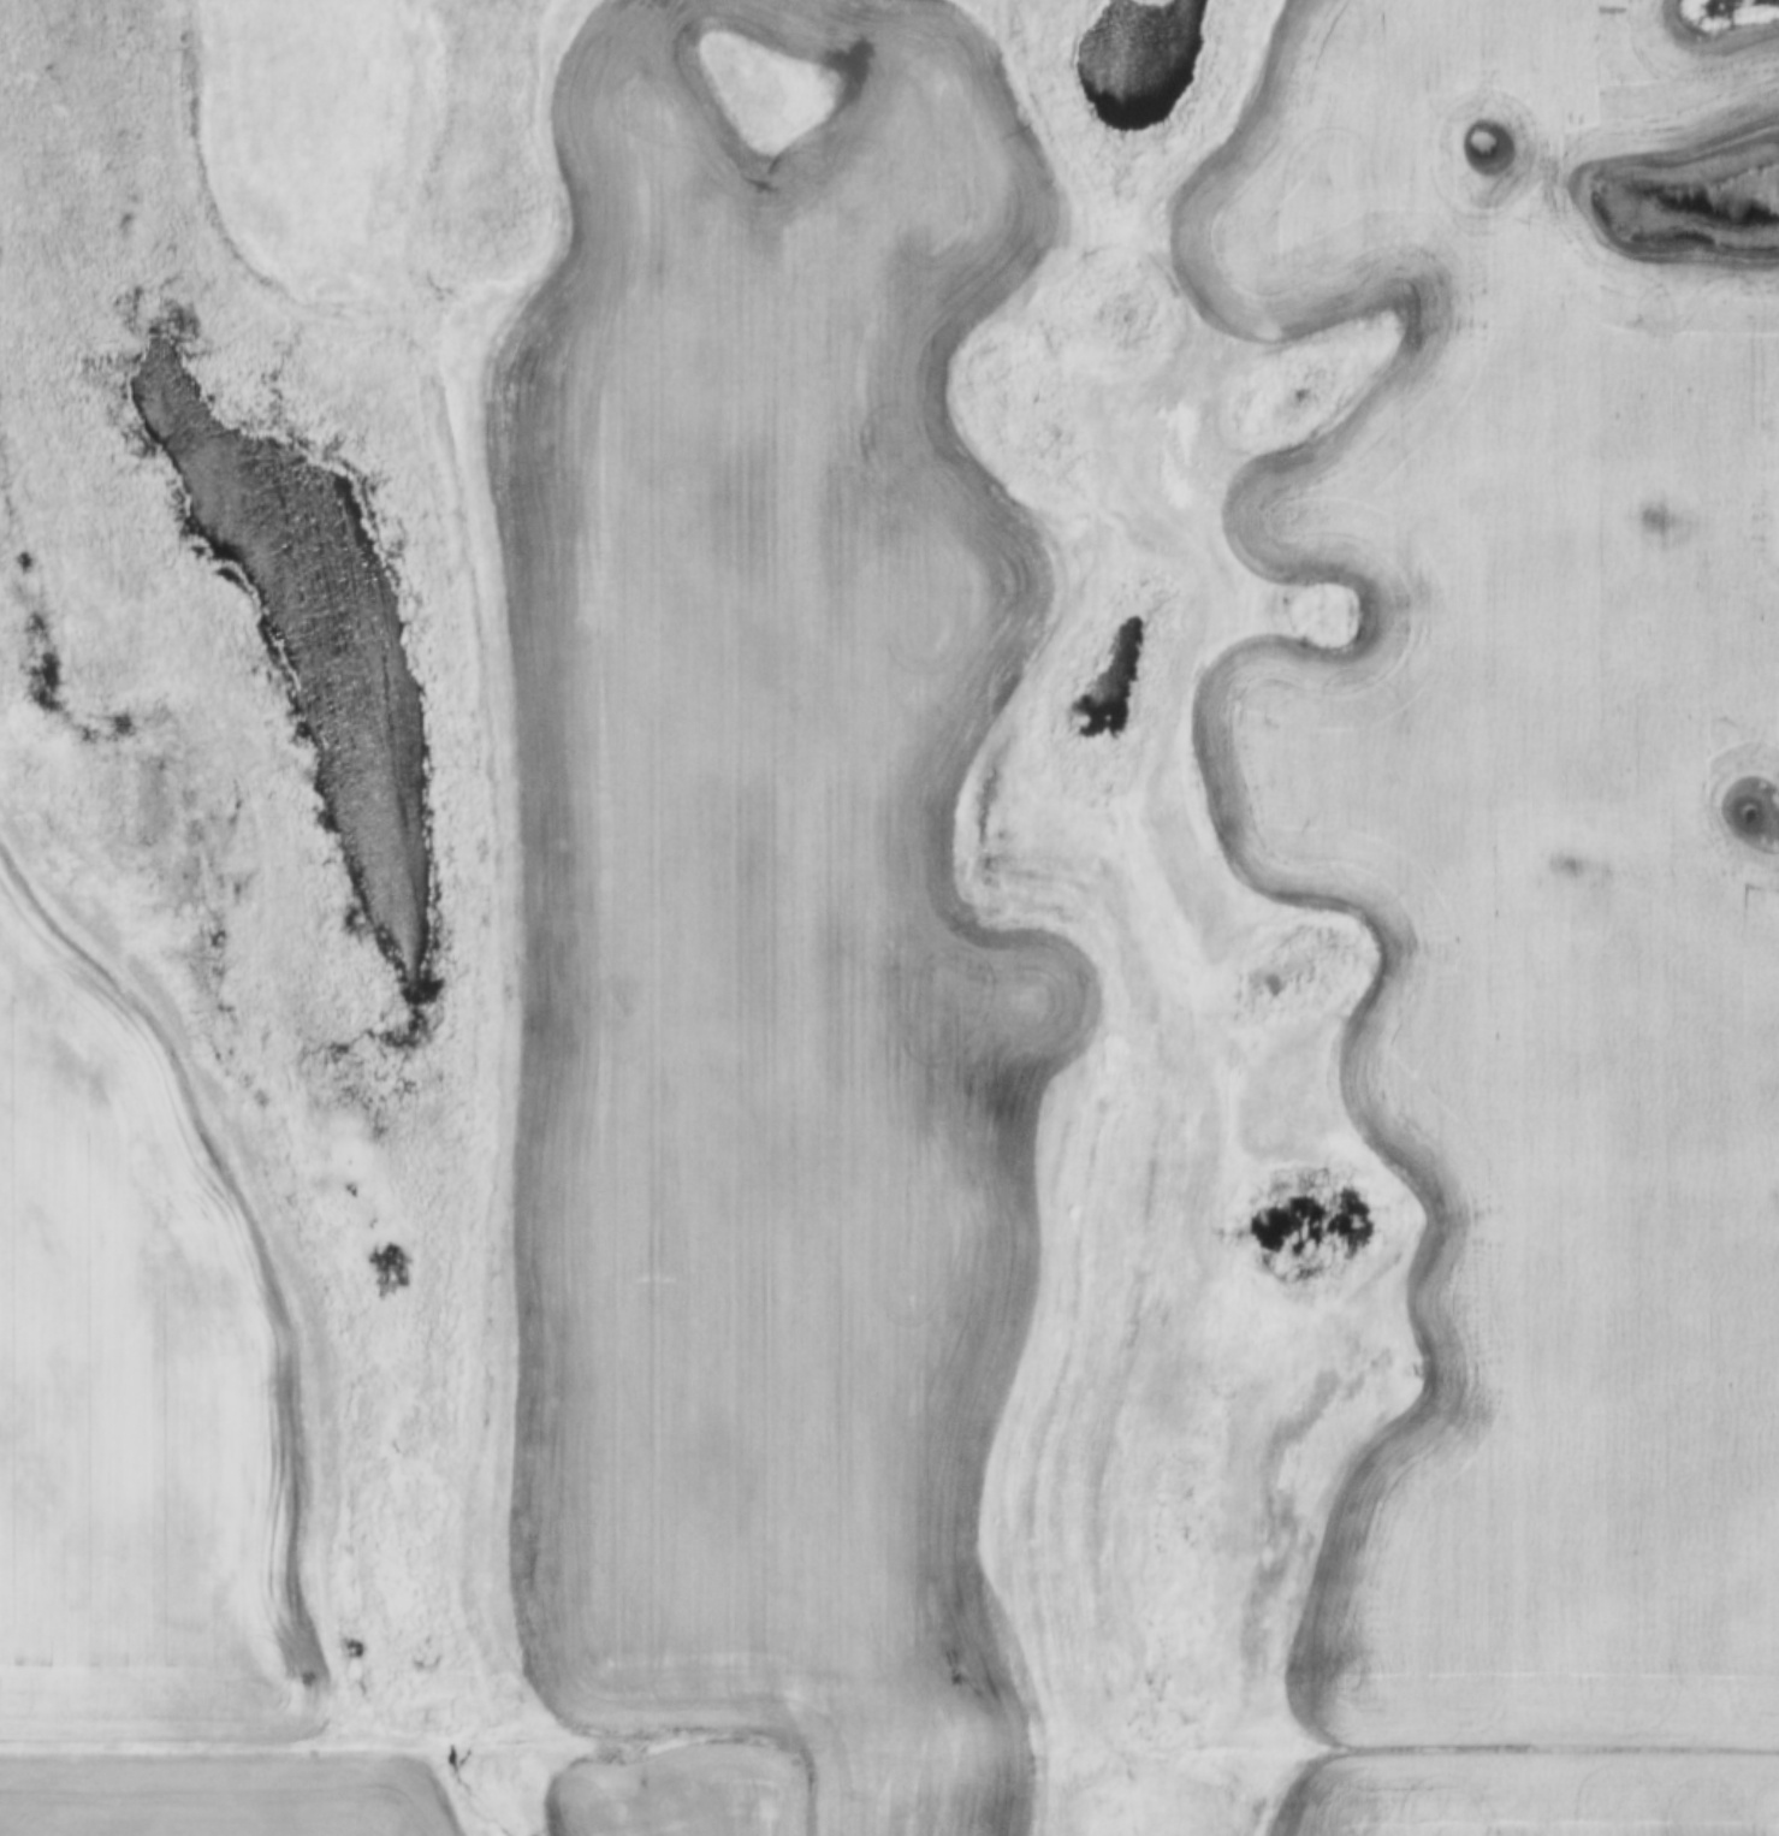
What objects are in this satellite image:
road: (889, 1747)

